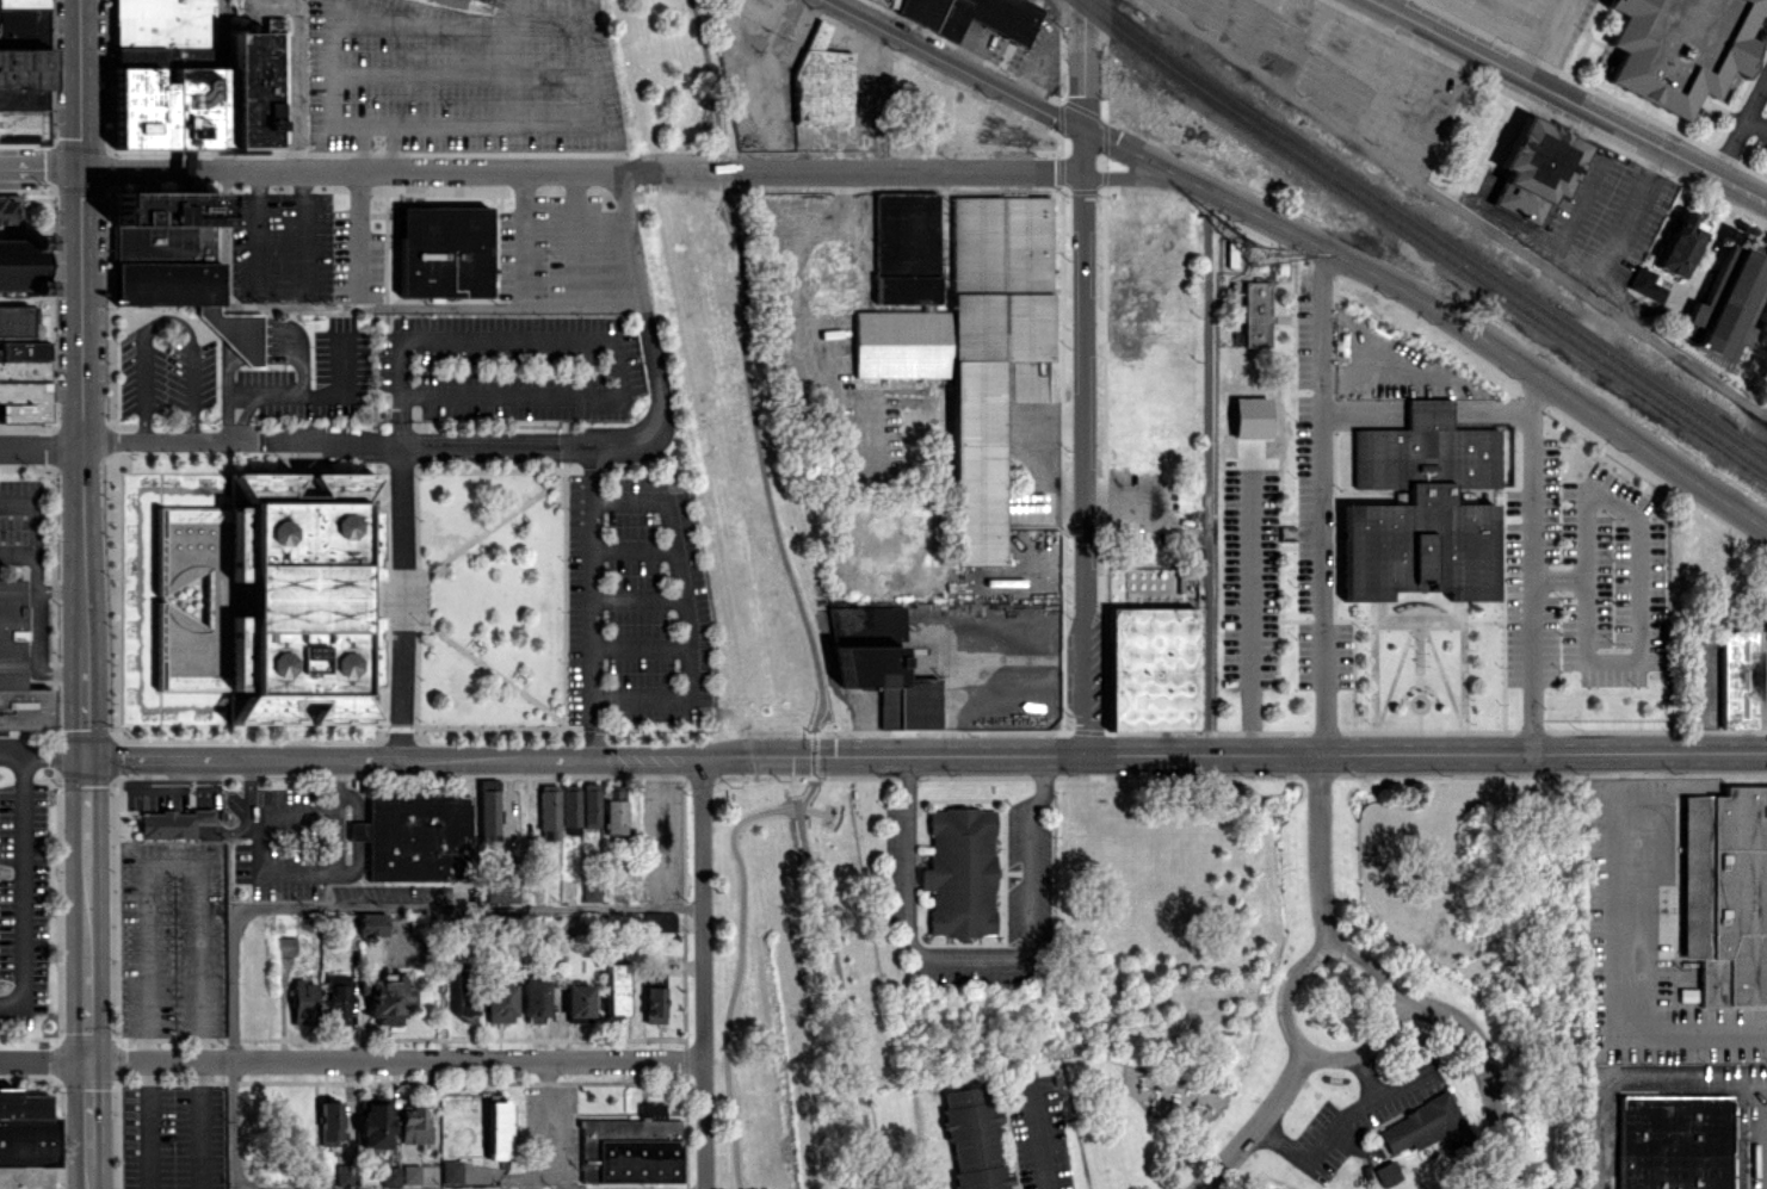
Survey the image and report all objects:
road: (463, 4)
building: (972, 16)
road: (1543, 38)
building: (1680, 48)
building: (23, 70)
road: (709, 74)
road: (458, 75)
parking lot: (457, 76)
building: (194, 81)
building: (822, 81)
road: (295, 83)
road: (1570, 100)
road: (366, 124)
road: (1756, 124)
road: (1741, 126)
road: (362, 147)
road: (394, 147)
road: (1391, 160)
road: (721, 168)
building: (1536, 168)
road: (589, 171)
building: (6, 209)
railway: (1431, 234)
road: (575, 236)
railway: (1421, 240)
parking lot: (305, 241)
road: (1309, 241)
parking lot: (555, 242)
building: (1680, 243)
building: (906, 247)
building: (435, 250)
building: (1230, 254)
building: (177, 261)
building: (21, 265)
road: (1586, 267)
building: (1645, 284)
road: (280, 292)
road: (521, 297)
road: (643, 297)
building: (1726, 299)
road: (371, 303)
building: (1256, 312)
road: (166, 318)
road: (81, 322)
road: (587, 335)
building: (974, 348)
road: (1669, 351)
road: (1086, 377)
building: (24, 382)
building: (1250, 417)
road: (385, 442)
road: (76, 446)
road: (24, 451)
road: (760, 459)
road: (1323, 501)
building: (1420, 507)
parking lot: (20, 520)
road: (18, 553)
road: (1531, 563)
road: (37, 570)
road: (1558, 578)
building: (1003, 581)
road: (61, 592)
railway: (724, 593)
building: (267, 597)
road: (401, 600)
road: (588, 600)
parking lot: (636, 602)
road: (687, 607)
road: (1248, 621)
flagpole: (418, 623)
building: (1151, 662)
road: (1625, 662)
building: (881, 665)
building: (17, 670)
road: (62, 674)
building: (1743, 679)
road: (86, 701)
road: (813, 754)
road: (926, 755)
road: (42, 757)
traffic signals: (86, 758)
road: (203, 782)
road: (248, 794)
building: (589, 804)
building: (569, 805)
building: (488, 810)
building: (548, 811)
building: (613, 811)
road: (86, 812)
road: (290, 813)
road: (203, 815)
building: (171, 823)
road: (659, 830)
road: (224, 832)
building: (415, 836)
road: (1318, 853)
road: (173, 863)
road: (329, 869)
building: (958, 869)
parking lot: (24, 880)
building: (501, 890)
road: (23, 891)
building: (1726, 894)
road: (87, 904)
road: (467, 905)
building: (657, 919)
building: (371, 923)
building: (285, 945)
road: (974, 952)
road: (1614, 965)
road: (1303, 967)
road: (737, 971)
road: (704, 972)
road: (839, 981)
building: (614, 989)
building: (1687, 995)
building: (385, 997)
building: (654, 997)
building: (336, 998)
road: (88, 1001)
building: (533, 1001)
building: (498, 1002)
building: (463, 1003)
building: (577, 1003)
building: (303, 1007)
road: (230, 1048)
traffic signals: (89, 1060)
road: (351, 1060)
road: (1484, 1067)
road: (1367, 1076)
road: (1682, 1084)
road: (1759, 1084)
road: (89, 1113)
building: (329, 1121)
building: (373, 1121)
road: (1339, 1121)
building: (413, 1123)
road: (1256, 1123)
road: (146, 1125)
road: (198, 1125)
building: (1423, 1125)
building: (498, 1127)
building: (25, 1129)
road: (1037, 1129)
building: (971, 1139)
building: (1672, 1141)
building: (630, 1147)
building: (451, 1171)
building: (345, 1173)
building: (410, 1173)
building: (1386, 1173)
road: (89, 1177)
road: (1598, 1178)

